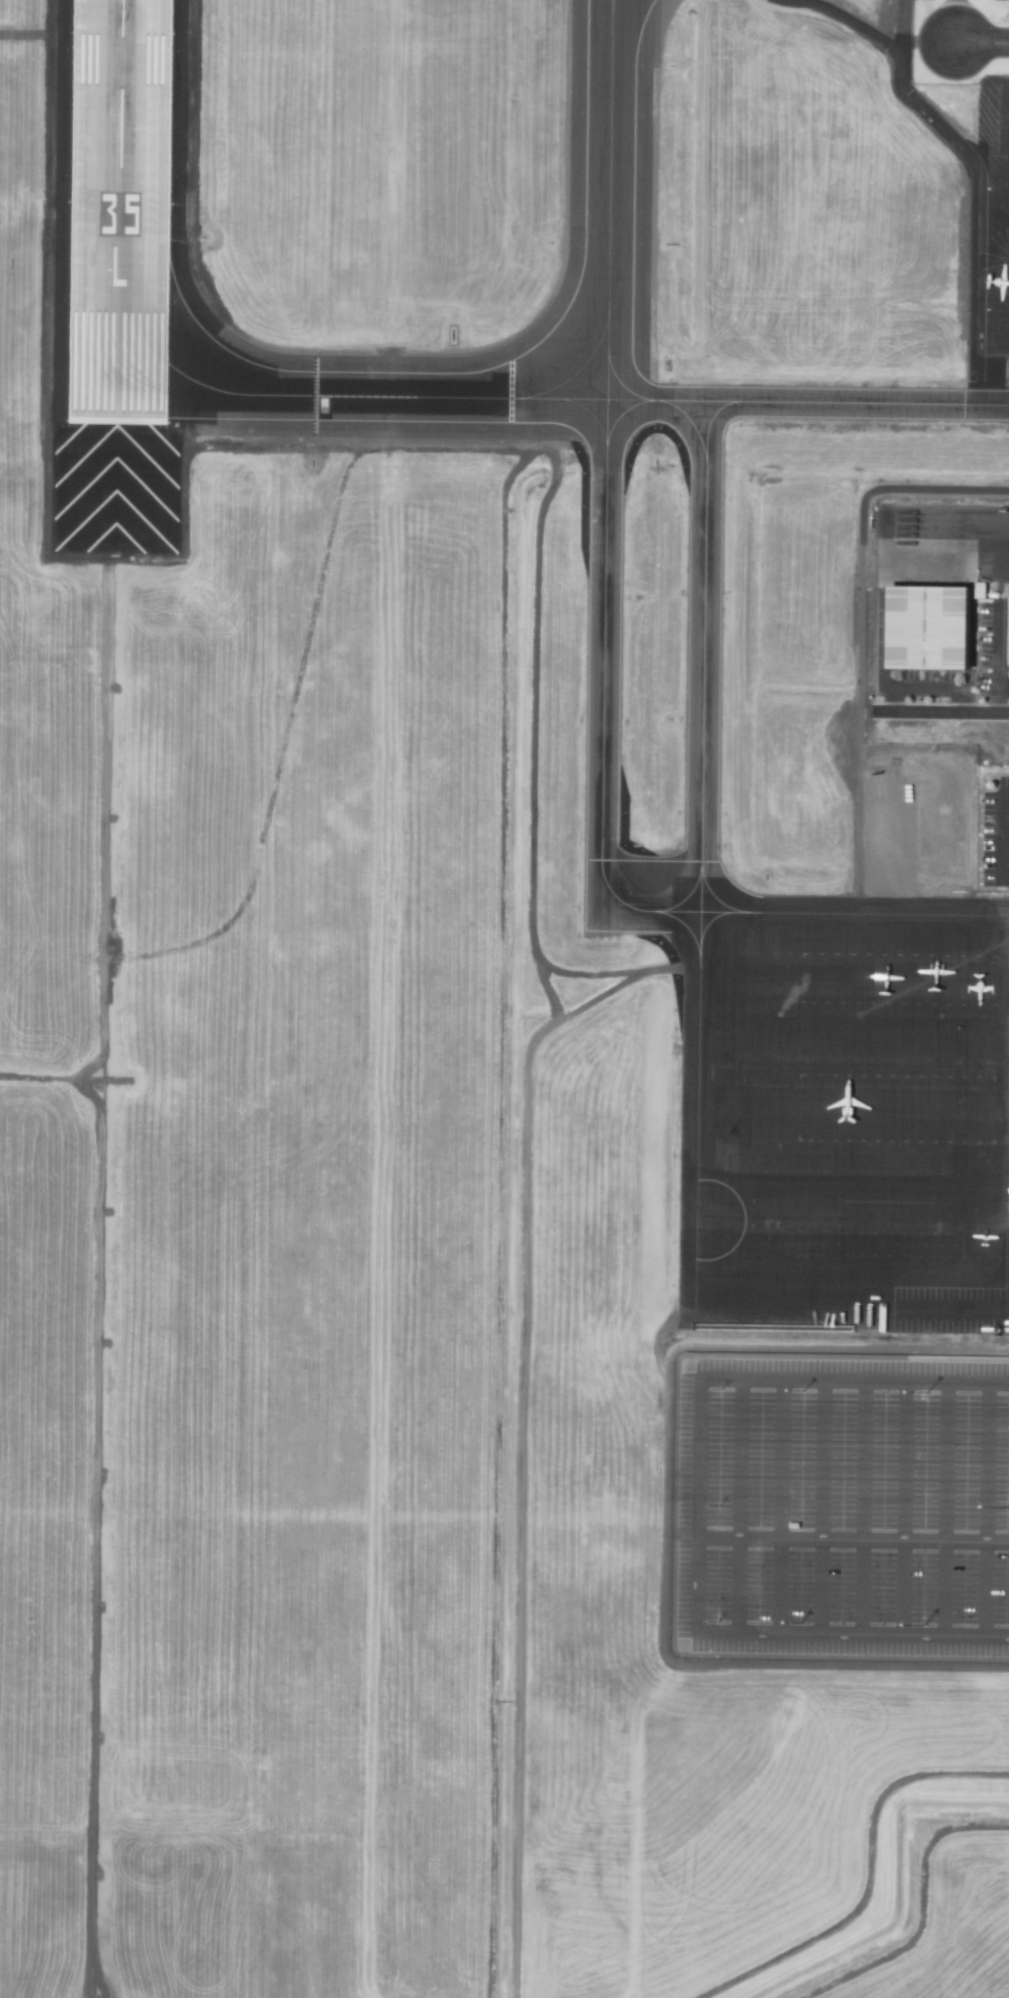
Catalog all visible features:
airport taxiway: (611, 1)
road: (855, 22)
road: (981, 44)
airport taxiway: (608, 201)
airport runway: (120, 213)
airport apron: (992, 236)
airport taxiway: (576, 373)
airport taxiway: (620, 387)
airport taxiway: (337, 399)
airport taxiway: (807, 404)
airport taxiway: (619, 416)
airport taxiway: (592, 417)
airport taxiway: (690, 425)
airport taxiway: (976, 524)
airport apron: (945, 546)
building: (979, 590)
building: (929, 628)
airport taxiway: (704, 640)
building: (1008, 661)
airport taxiway: (604, 681)
road: (951, 714)
road: (1000, 831)
road: (1004, 833)
road: (1004, 877)
airport: (504, 999)
airport apron: (843, 1112)
road: (855, 1381)
road: (699, 1508)
road: (779, 1508)
road: (739, 1509)
road: (821, 1509)
parking lot: (842, 1509)
road: (861, 1509)
road: (904, 1509)
road: (948, 1510)
road: (986, 1510)
road: (853, 1540)
road: (853, 1638)
road: (869, 1877)

